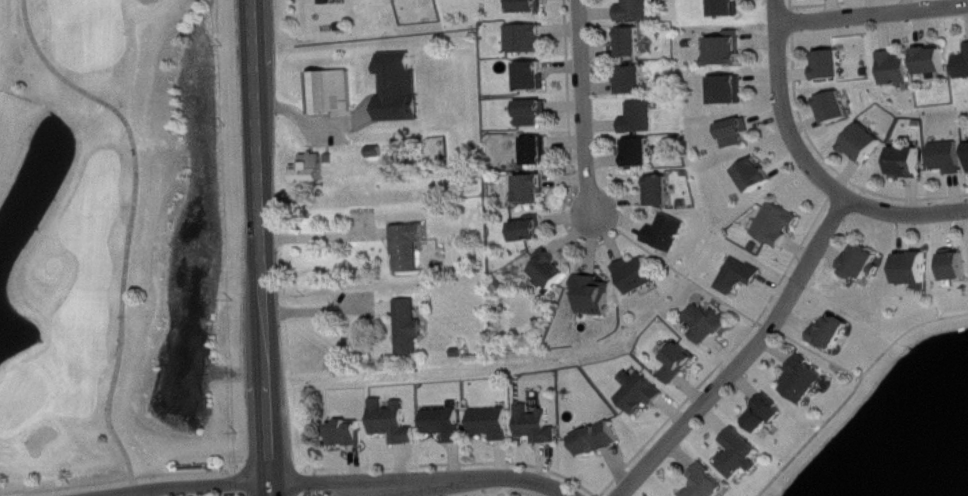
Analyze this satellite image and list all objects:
building: (531, 6)
building: (729, 8)
building: (637, 11)
road: (873, 11)
building: (527, 40)
building: (633, 43)
building: (727, 53)
building: (935, 61)
building: (833, 65)
building: (963, 68)
building: (897, 69)
building: (534, 77)
building: (637, 81)
building: (402, 89)
building: (729, 91)
building: (333, 93)
road: (585, 106)
building: (837, 108)
building: (535, 113)
building: (642, 119)
road: (315, 123)
building: (737, 134)
building: (867, 144)
building: (539, 152)
building: (643, 153)
building: (950, 158)
building: (910, 163)
road: (812, 164)
building: (313, 169)
building: (757, 176)
building: (534, 189)
building: (662, 192)
road: (139, 216)
building: (780, 225)
building: (531, 230)
building: (670, 234)
building: (410, 247)
road: (262, 248)
park: (118, 260)
building: (865, 264)
building: (958, 266)
building: (916, 270)
building: (554, 273)
building: (639, 276)
building: (742, 277)
building: (595, 296)
road: (323, 308)
building: (709, 325)
building: (411, 328)
building: (834, 333)
road: (747, 356)
building: (682, 364)
building: (806, 381)
building: (643, 393)
building: (768, 415)
building: (395, 422)
building: (447, 424)
building: (495, 424)
building: (539, 426)
building: (350, 435)
building: (601, 440)
building: (743, 455)
building: (709, 483)
road: (147, 484)
road: (369, 484)

